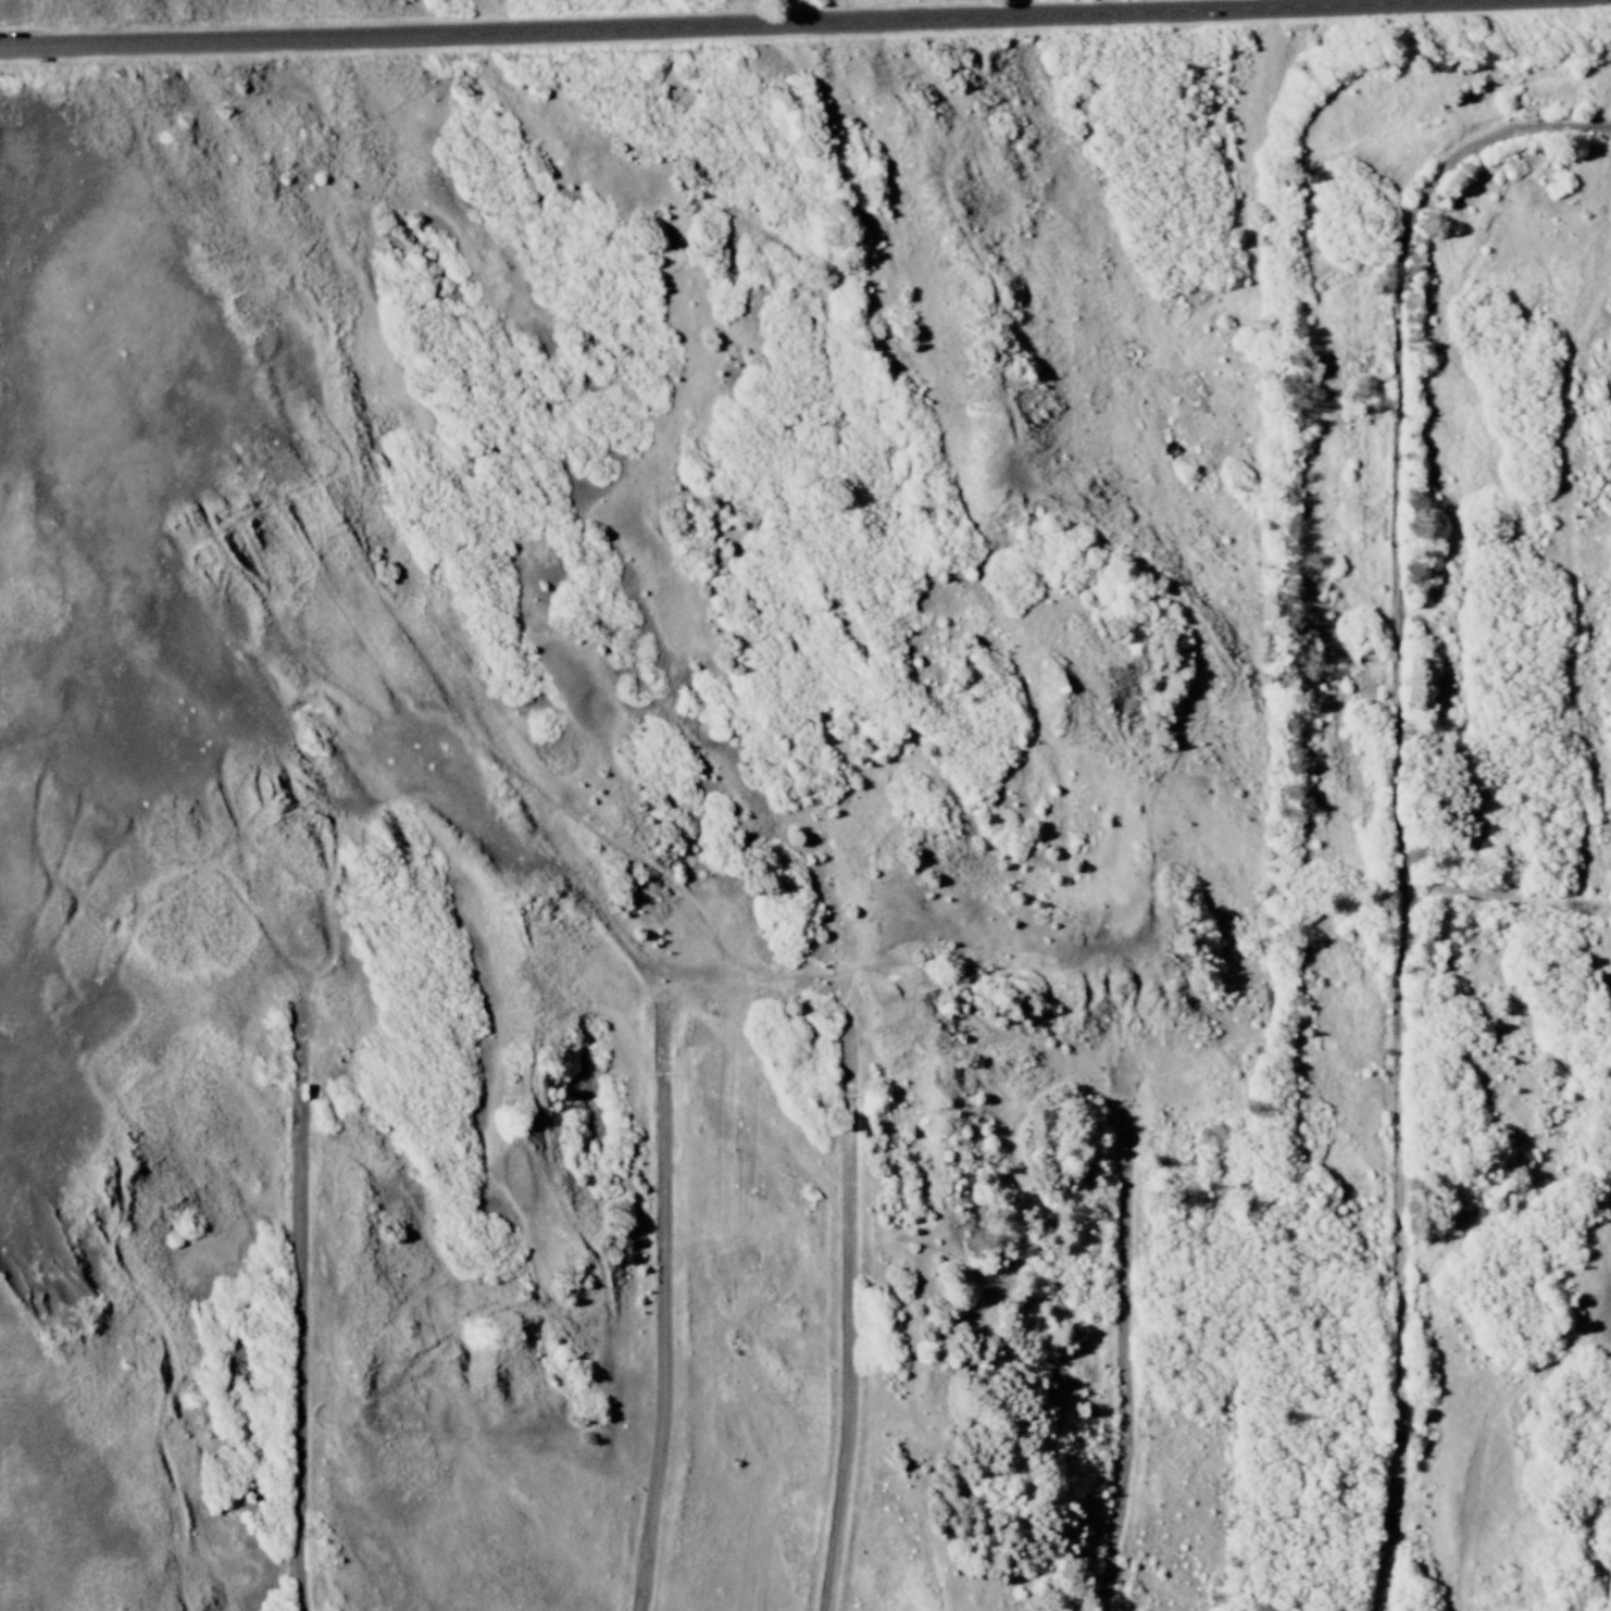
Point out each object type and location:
road: (715, 28)
road: (1404, 798)
road: (1508, 900)
road: (302, 1302)
road: (665, 1311)
road: (853, 1320)
road: (1127, 1345)

